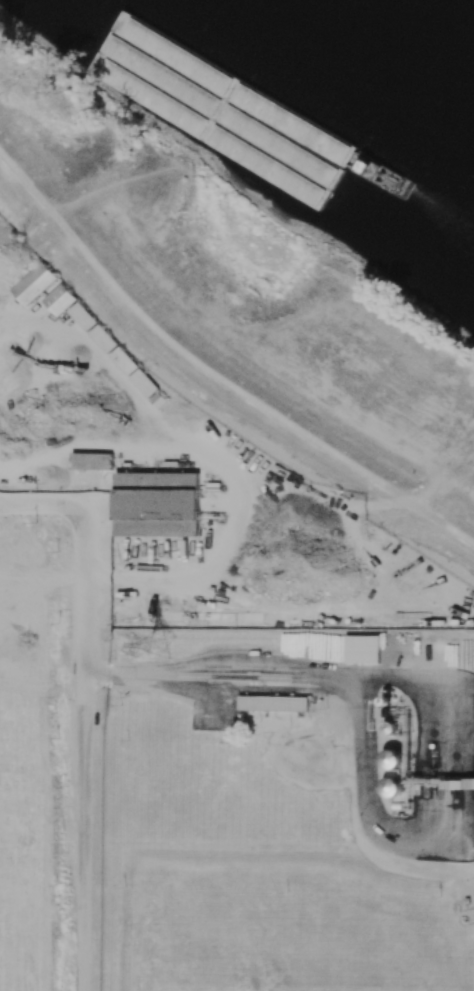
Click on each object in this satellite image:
river: (421, 39)
building: (32, 283)
building: (58, 299)
building: (81, 316)
building: (101, 338)
road: (177, 345)
building: (133, 372)
building: (91, 460)
road: (225, 467)
road: (44, 503)
building: (156, 503)
road: (413, 504)
road: (452, 528)
power tower: (159, 645)
building: (362, 648)
road: (317, 664)
building: (273, 703)
road: (85, 746)
road: (466, 782)
road: (377, 816)

